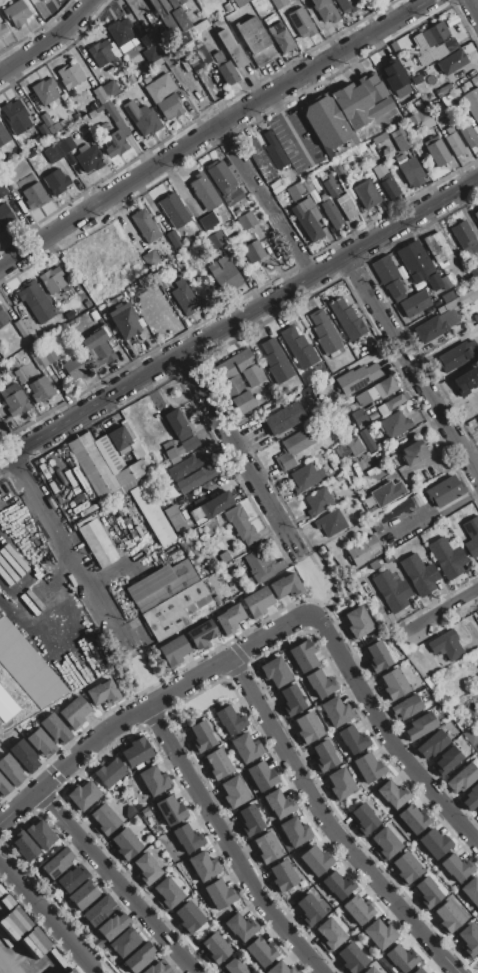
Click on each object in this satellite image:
building: (41, 0)
building: (176, 2)
building: (240, 3)
building: (279, 3)
building: (346, 5)
road: (472, 8)
building: (324, 9)
building: (16, 13)
building: (181, 20)
building: (301, 23)
building: (200, 25)
building: (2, 29)
building: (120, 32)
building: (430, 36)
building: (0, 37)
building: (281, 37)
road: (50, 40)
building: (256, 42)
building: (231, 49)
building: (101, 53)
building: (151, 55)
building: (431, 55)
building: (197, 58)
building: (452, 62)
building: (225, 69)
building: (70, 75)
building: (396, 78)
building: (372, 88)
building: (110, 90)
building: (443, 90)
building: (45, 92)
building: (99, 95)
building: (164, 97)
building: (472, 103)
building: (455, 108)
building: (16, 117)
building: (142, 118)
building: (425, 119)
building: (63, 123)
building: (49, 124)
building: (328, 124)
road: (213, 129)
road: (291, 130)
building: (44, 132)
building: (115, 134)
building: (467, 134)
building: (3, 137)
building: (379, 138)
building: (402, 139)
building: (36, 140)
building: (454, 142)
building: (66, 146)
building: (274, 151)
building: (387, 152)
building: (438, 152)
building: (53, 154)
building: (92, 157)
building: (260, 160)
building: (409, 170)
building: (285, 173)
building: (224, 177)
building: (385, 180)
building: (57, 181)
building: (306, 186)
building: (275, 187)
building: (330, 187)
building: (2, 190)
building: (296, 191)
building: (204, 192)
building: (367, 195)
building: (35, 196)
building: (282, 202)
road: (264, 203)
building: (346, 207)
building: (174, 211)
building: (330, 213)
building: (476, 215)
building: (5, 217)
building: (245, 219)
building: (308, 219)
building: (209, 222)
building: (146, 226)
building: (337, 234)
building: (467, 237)
building: (174, 239)
building: (216, 240)
building: (252, 248)
building: (438, 249)
building: (151, 259)
building: (419, 265)
building: (475, 274)
building: (224, 275)
building: (389, 278)
building: (52, 280)
building: (162, 281)
building: (446, 283)
building: (184, 297)
building: (448, 297)
building: (460, 301)
road: (387, 302)
building: (36, 303)
building: (415, 304)
building: (69, 315)
building: (94, 316)
building: (414, 318)
building: (3, 319)
building: (124, 320)
building: (348, 320)
road: (239, 323)
building: (76, 324)
building: (436, 326)
building: (21, 328)
building: (324, 332)
building: (100, 347)
building: (298, 348)
building: (49, 355)
building: (37, 357)
building: (454, 357)
building: (276, 361)
road: (413, 366)
building: (76, 368)
building: (19, 376)
building: (239, 378)
building: (358, 379)
building: (466, 380)
building: (382, 388)
building: (41, 390)
building: (363, 399)
building: (15, 400)
building: (396, 401)
building: (382, 410)
building: (373, 417)
building: (284, 418)
building: (359, 418)
building: (0, 421)
building: (0, 425)
building: (178, 425)
building: (394, 425)
building: (119, 440)
building: (367, 441)
building: (189, 444)
building: (293, 449)
building: (350, 449)
building: (172, 452)
building: (413, 453)
road: (240, 457)
building: (102, 464)
building: (186, 466)
building: (198, 478)
building: (303, 478)
building: (446, 490)
building: (387, 494)
road: (4, 498)
building: (318, 501)
building: (213, 506)
building: (395, 511)
building: (152, 515)
building: (174, 520)
building: (239, 523)
building: (330, 523)
building: (376, 526)
building: (472, 536)
building: (97, 543)
building: (364, 551)
road: (73, 554)
building: (224, 557)
building: (387, 558)
building: (447, 558)
building: (262, 565)
building: (374, 565)
building: (419, 574)
road: (326, 577)
building: (161, 585)
building: (287, 587)
building: (392, 591)
building: (257, 602)
building: (175, 610)
road: (447, 611)
building: (230, 619)
building: (357, 624)
building: (201, 634)
building: (446, 645)
building: (173, 651)
building: (302, 656)
building: (377, 658)
road: (226, 662)
building: (27, 667)
building: (274, 673)
building: (319, 684)
building: (393, 685)
building: (104, 693)
building: (291, 701)
park: (204, 706)
building: (6, 707)
building: (405, 708)
building: (75, 712)
building: (336, 712)
building: (229, 719)
building: (55, 728)
building: (419, 728)
building: (307, 729)
building: (472, 735)
building: (202, 736)
road: (388, 736)
building: (353, 740)
building: (40, 742)
building: (431, 745)
building: (246, 748)
building: (137, 752)
building: (24, 755)
building: (323, 757)
road: (73, 761)
building: (446, 762)
building: (218, 765)
building: (368, 768)
building: (10, 770)
building: (110, 772)
building: (261, 777)
building: (462, 779)
building: (153, 781)
building: (339, 785)
building: (4, 787)
building: (234, 792)
building: (83, 795)
building: (392, 796)
building: (471, 798)
building: (279, 804)
building: (171, 811)
building: (477, 812)
building: (145, 813)
road: (6, 818)
building: (412, 819)
building: (104, 820)
building: (363, 821)
building: (250, 822)
road: (330, 826)
building: (41, 833)
building: (295, 833)
building: (188, 839)
road: (229, 844)
building: (385, 844)
building: (434, 844)
building: (126, 845)
building: (24, 847)
building: (266, 848)
building: (316, 860)
building: (57, 863)
building: (204, 866)
building: (456, 868)
building: (405, 869)
building: (147, 870)
building: (283, 876)
building: (71, 879)
road: (118, 882)
building: (338, 886)
building: (470, 892)
building: (426, 893)
building: (168, 894)
building: (220, 894)
building: (83, 895)
building: (308, 910)
building: (358, 910)
building: (98, 911)
road: (46, 917)
building: (189, 917)
building: (447, 918)
building: (113, 926)
building: (240, 927)
building: (330, 934)
building: (380, 934)
building: (468, 941)
building: (125, 943)
building: (217, 948)
building: (260, 952)
building: (139, 958)
building: (352, 958)
building: (401, 958)
road: (10, 959)
building: (234, 966)
building: (158, 968)
building: (280, 968)
building: (371, 970)
building: (418, 971)
building: (430, 972)

